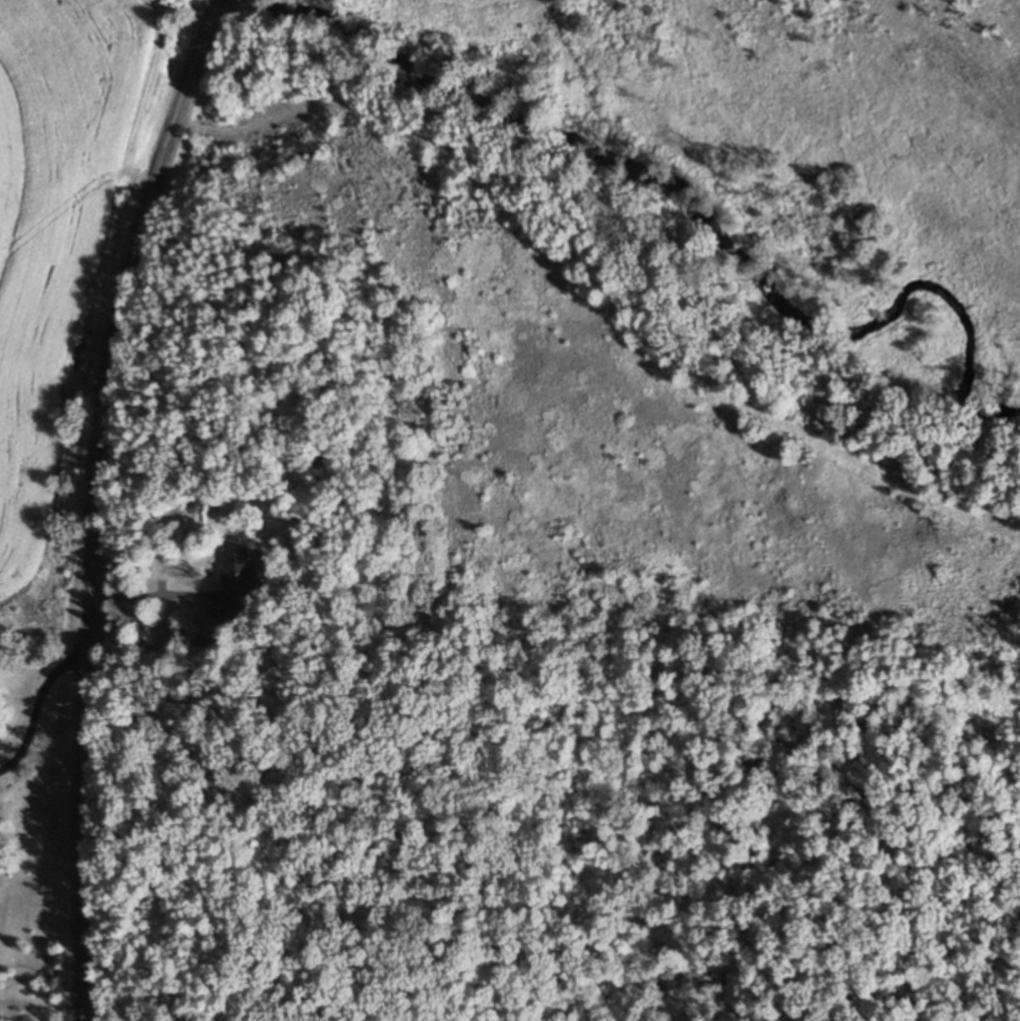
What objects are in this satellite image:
road: (214, 2)
building: (306, 461)
road: (94, 504)
building: (237, 580)
road: (145, 581)
building: (203, 638)
road: (36, 710)

